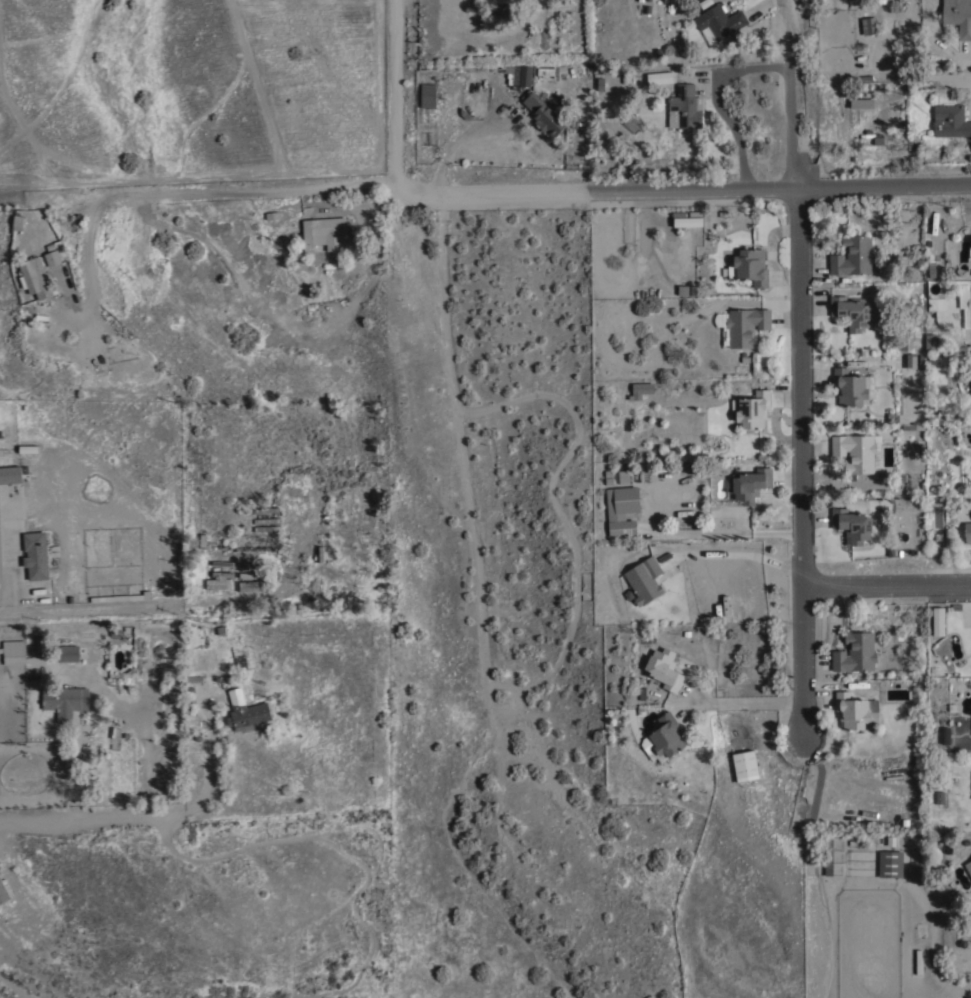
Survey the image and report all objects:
building: (958, 16)
building: (719, 20)
building: (868, 25)
building: (706, 35)
building: (544, 71)
building: (518, 75)
building: (658, 78)
road: (945, 78)
building: (428, 95)
road: (396, 97)
road: (719, 98)
building: (862, 103)
building: (684, 107)
building: (542, 113)
building: (951, 120)
road: (465, 131)
road: (683, 190)
road: (180, 194)
building: (272, 214)
building: (18, 221)
building: (686, 221)
building: (324, 232)
building: (853, 256)
building: (53, 257)
building: (751, 266)
building: (36, 278)
building: (686, 290)
building: (969, 304)
building: (850, 311)
building: (746, 325)
building: (906, 343)
building: (930, 343)
building: (911, 360)
road: (799, 367)
building: (849, 387)
building: (639, 389)
building: (752, 408)
building: (28, 449)
building: (855, 452)
building: (10, 475)
building: (623, 476)
building: (750, 484)
building: (265, 510)
building: (622, 510)
building: (266, 520)
building: (852, 524)
building: (967, 533)
building: (35, 555)
road: (740, 555)
road: (12, 558)
building: (644, 579)
building: (218, 583)
road: (889, 584)
building: (251, 585)
building: (122, 597)
building: (936, 621)
building: (147, 630)
park: (506, 635)
building: (42, 646)
building: (14, 652)
building: (855, 652)
building: (66, 653)
building: (664, 668)
building: (64, 701)
road: (741, 703)
building: (855, 710)
building: (246, 711)
building: (945, 735)
building: (664, 736)
building: (745, 763)
road: (77, 771)
road: (156, 816)
building: (828, 855)
building: (890, 863)
building: (968, 867)
building: (2, 894)

